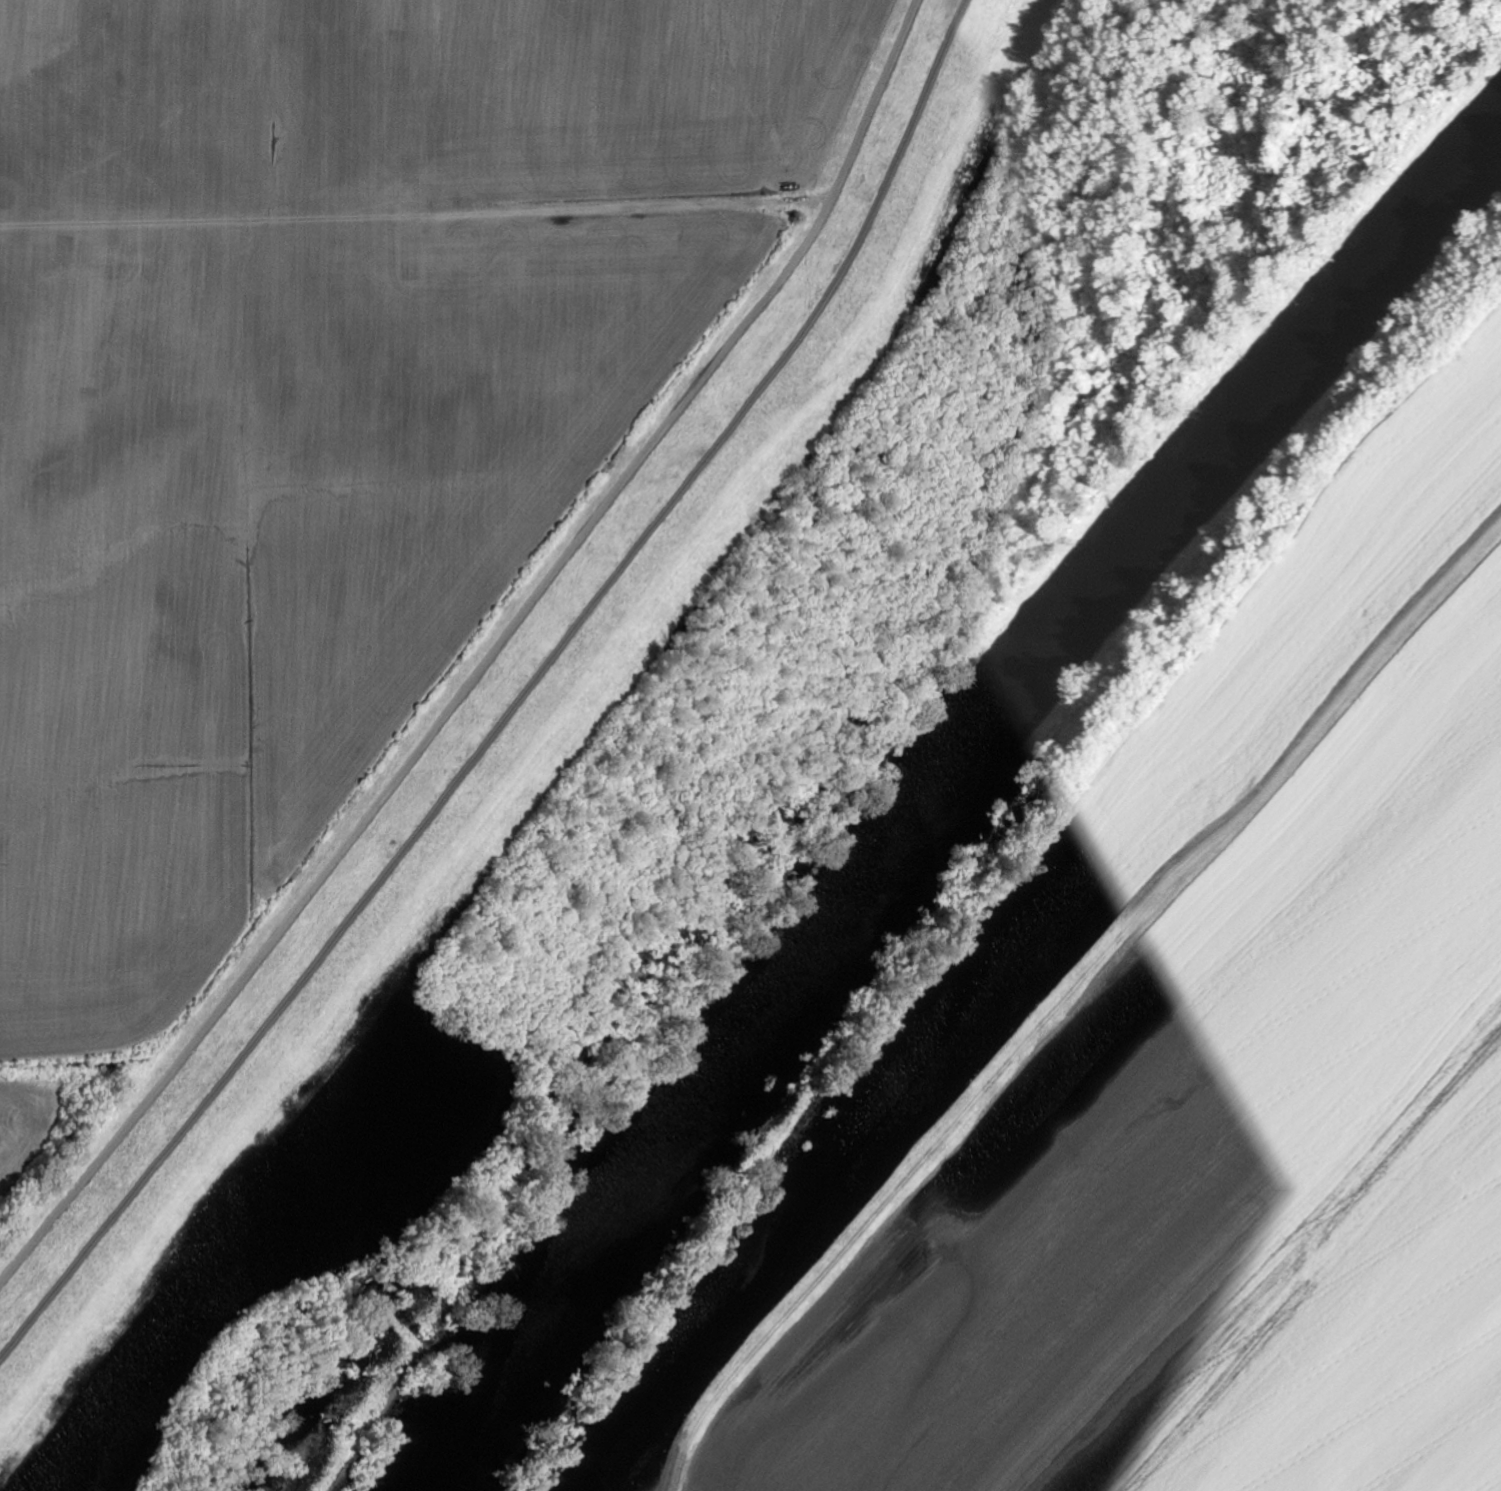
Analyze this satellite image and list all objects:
road: (489, 660)
road: (518, 699)
river: (943, 794)

